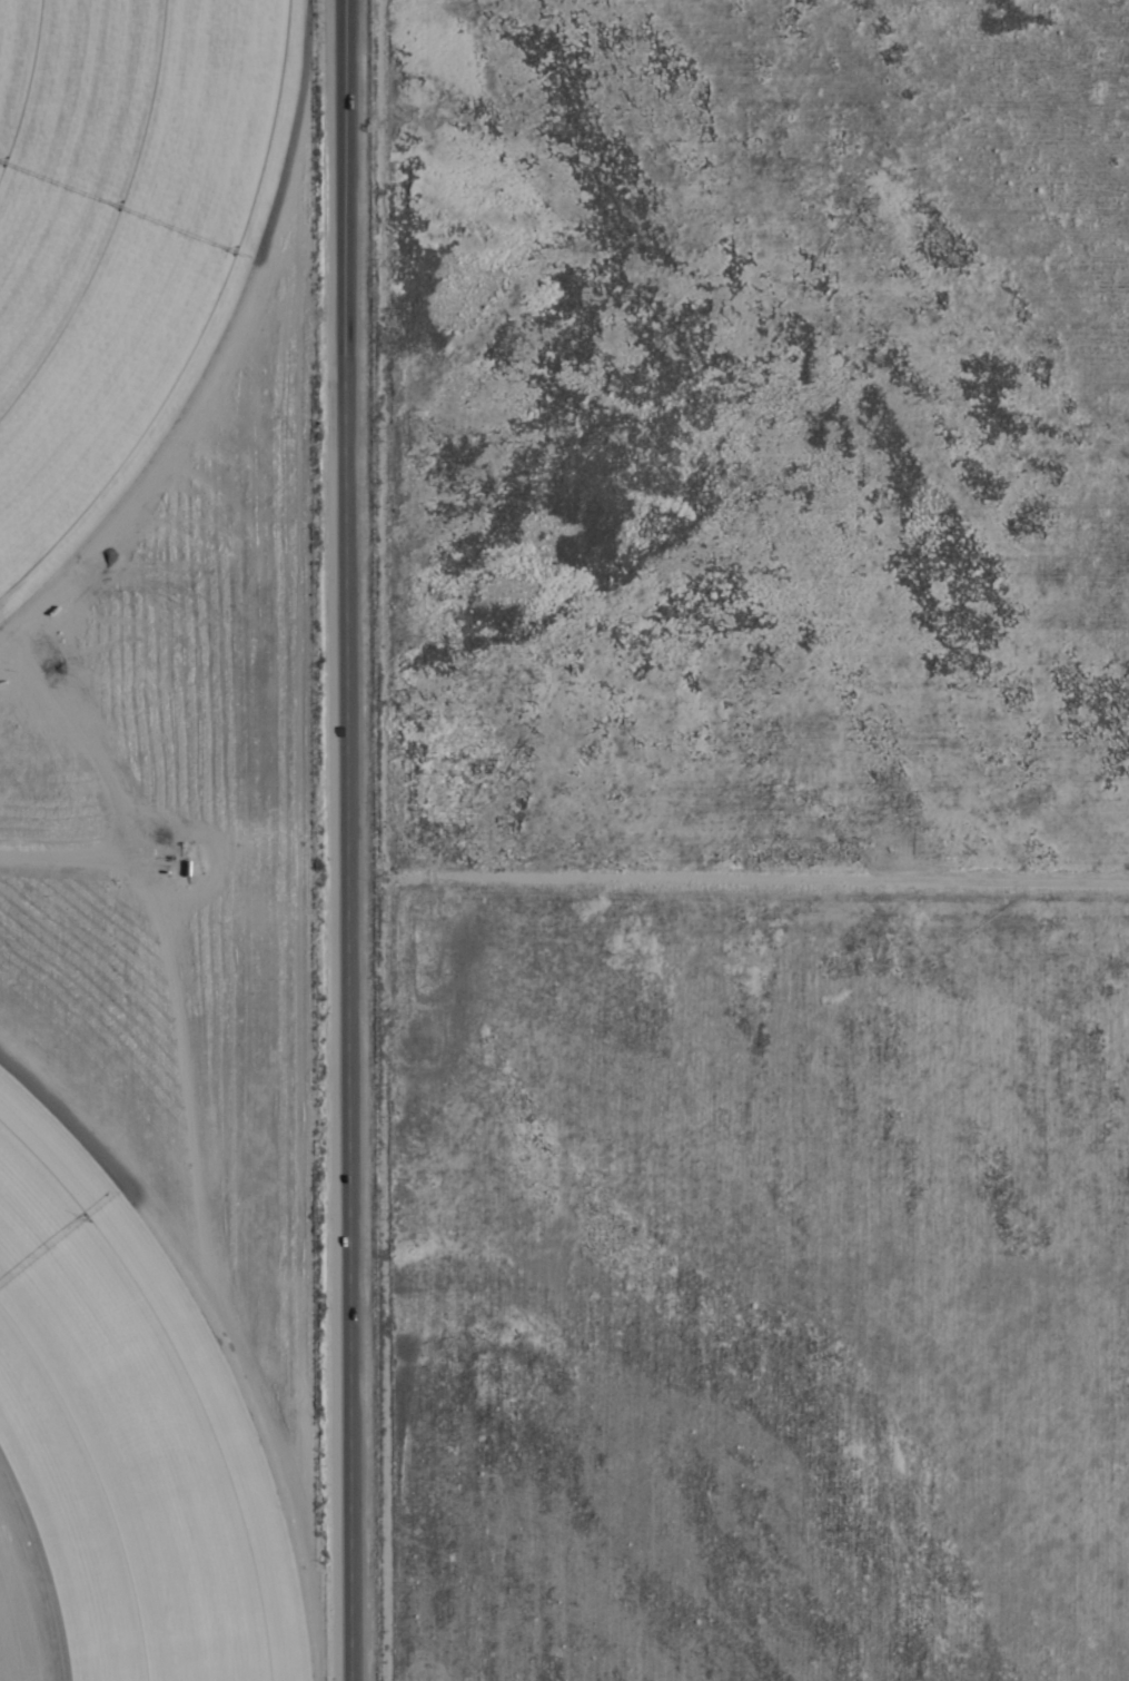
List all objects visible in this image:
crop: (675, 771)
road: (368, 840)
crop: (136, 1437)

